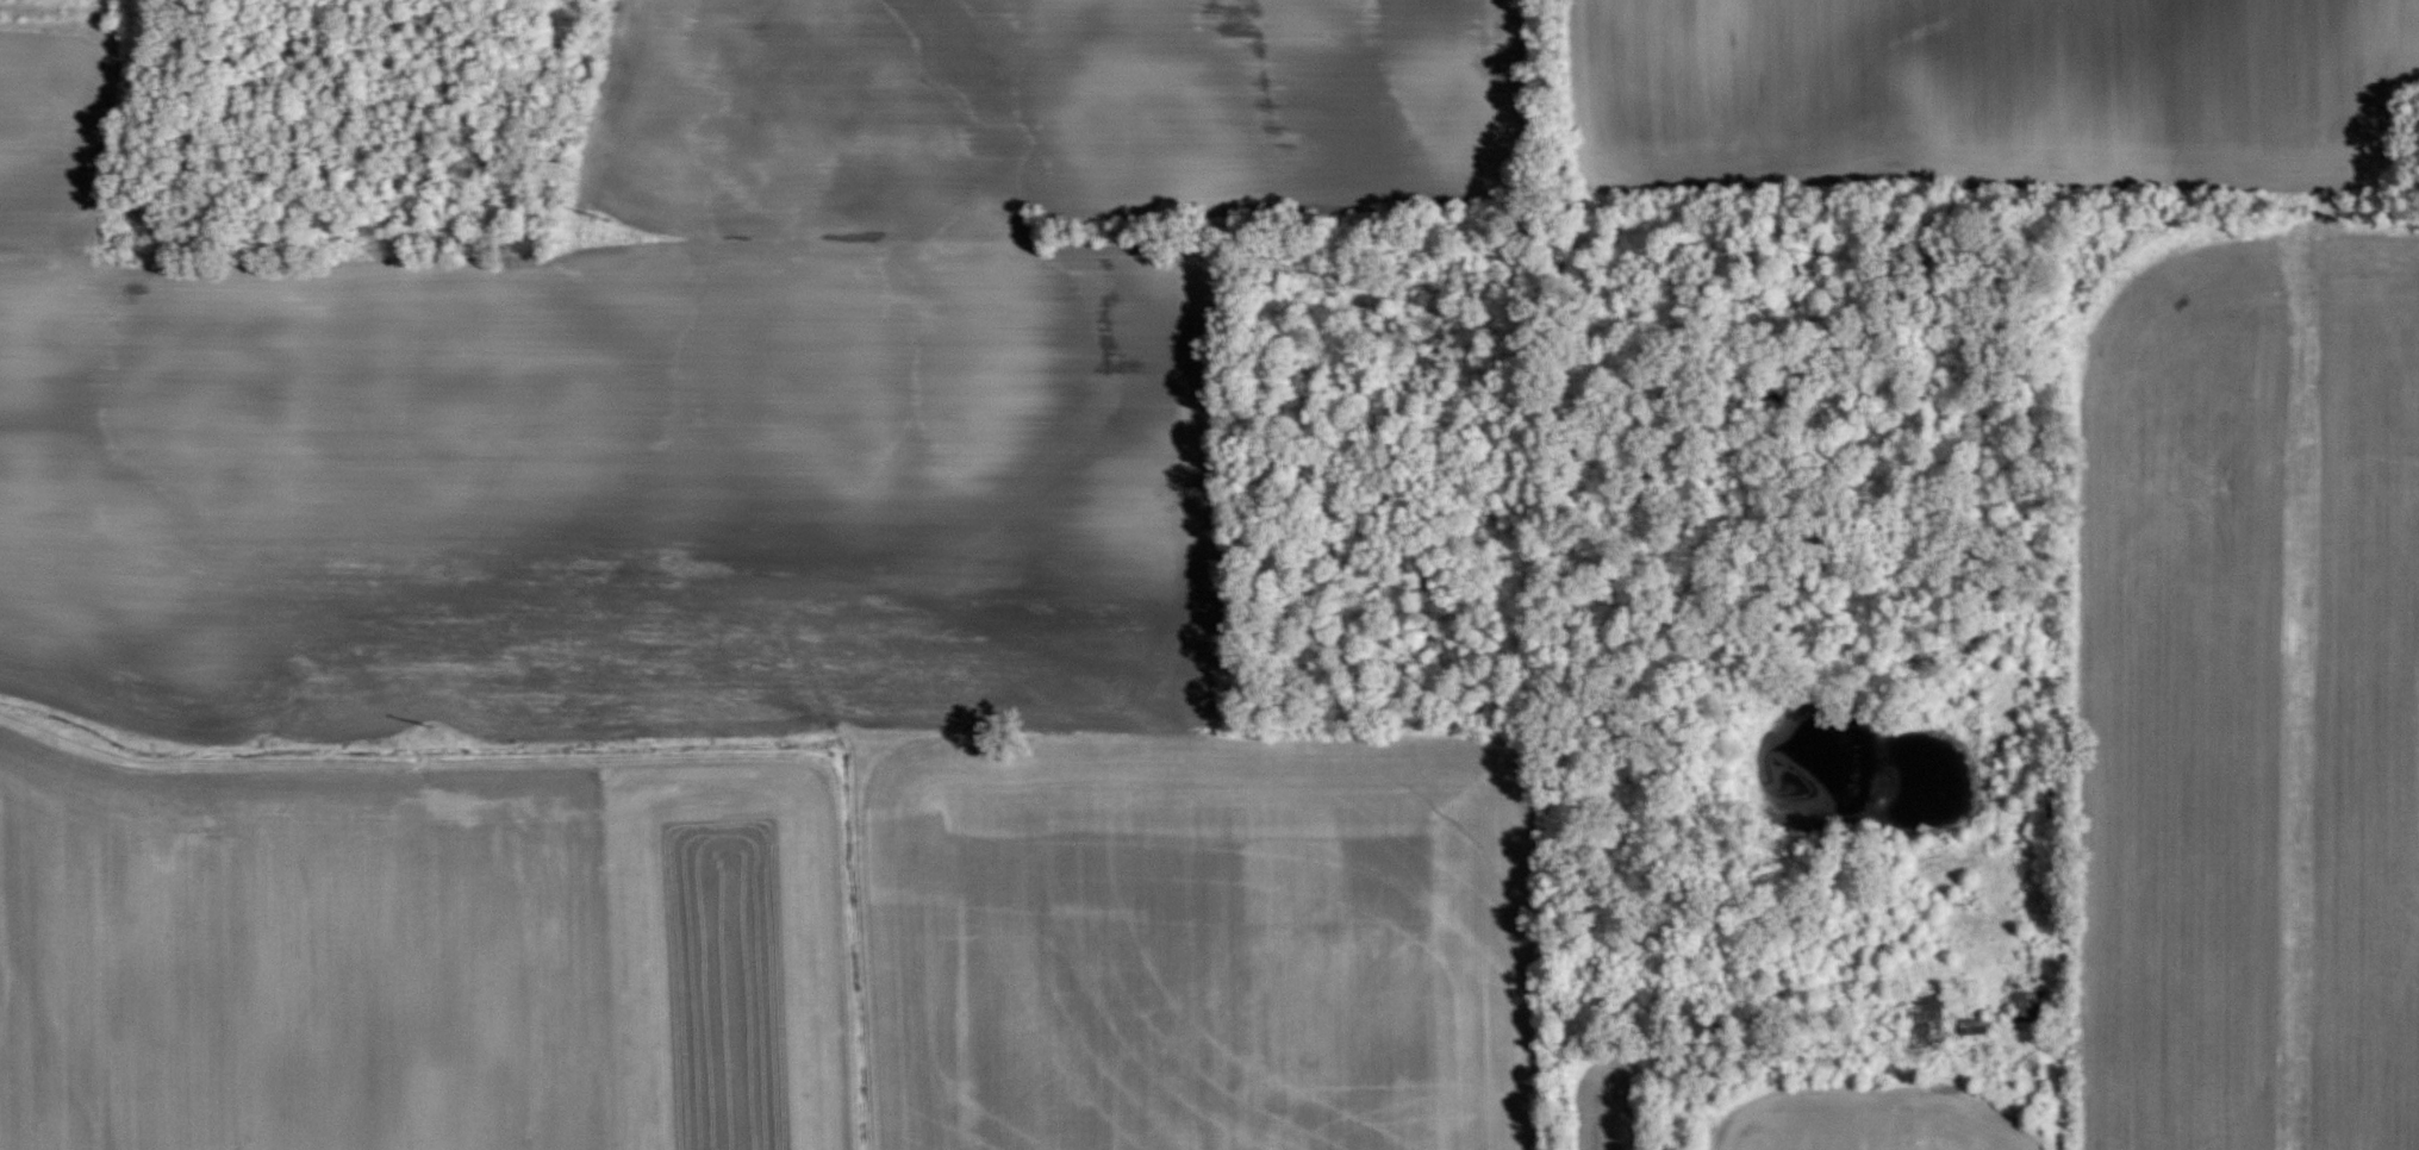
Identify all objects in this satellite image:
power tower: (622, 231)
power tower: (443, 749)
building: (2030, 1001)
building: (1927, 1017)

